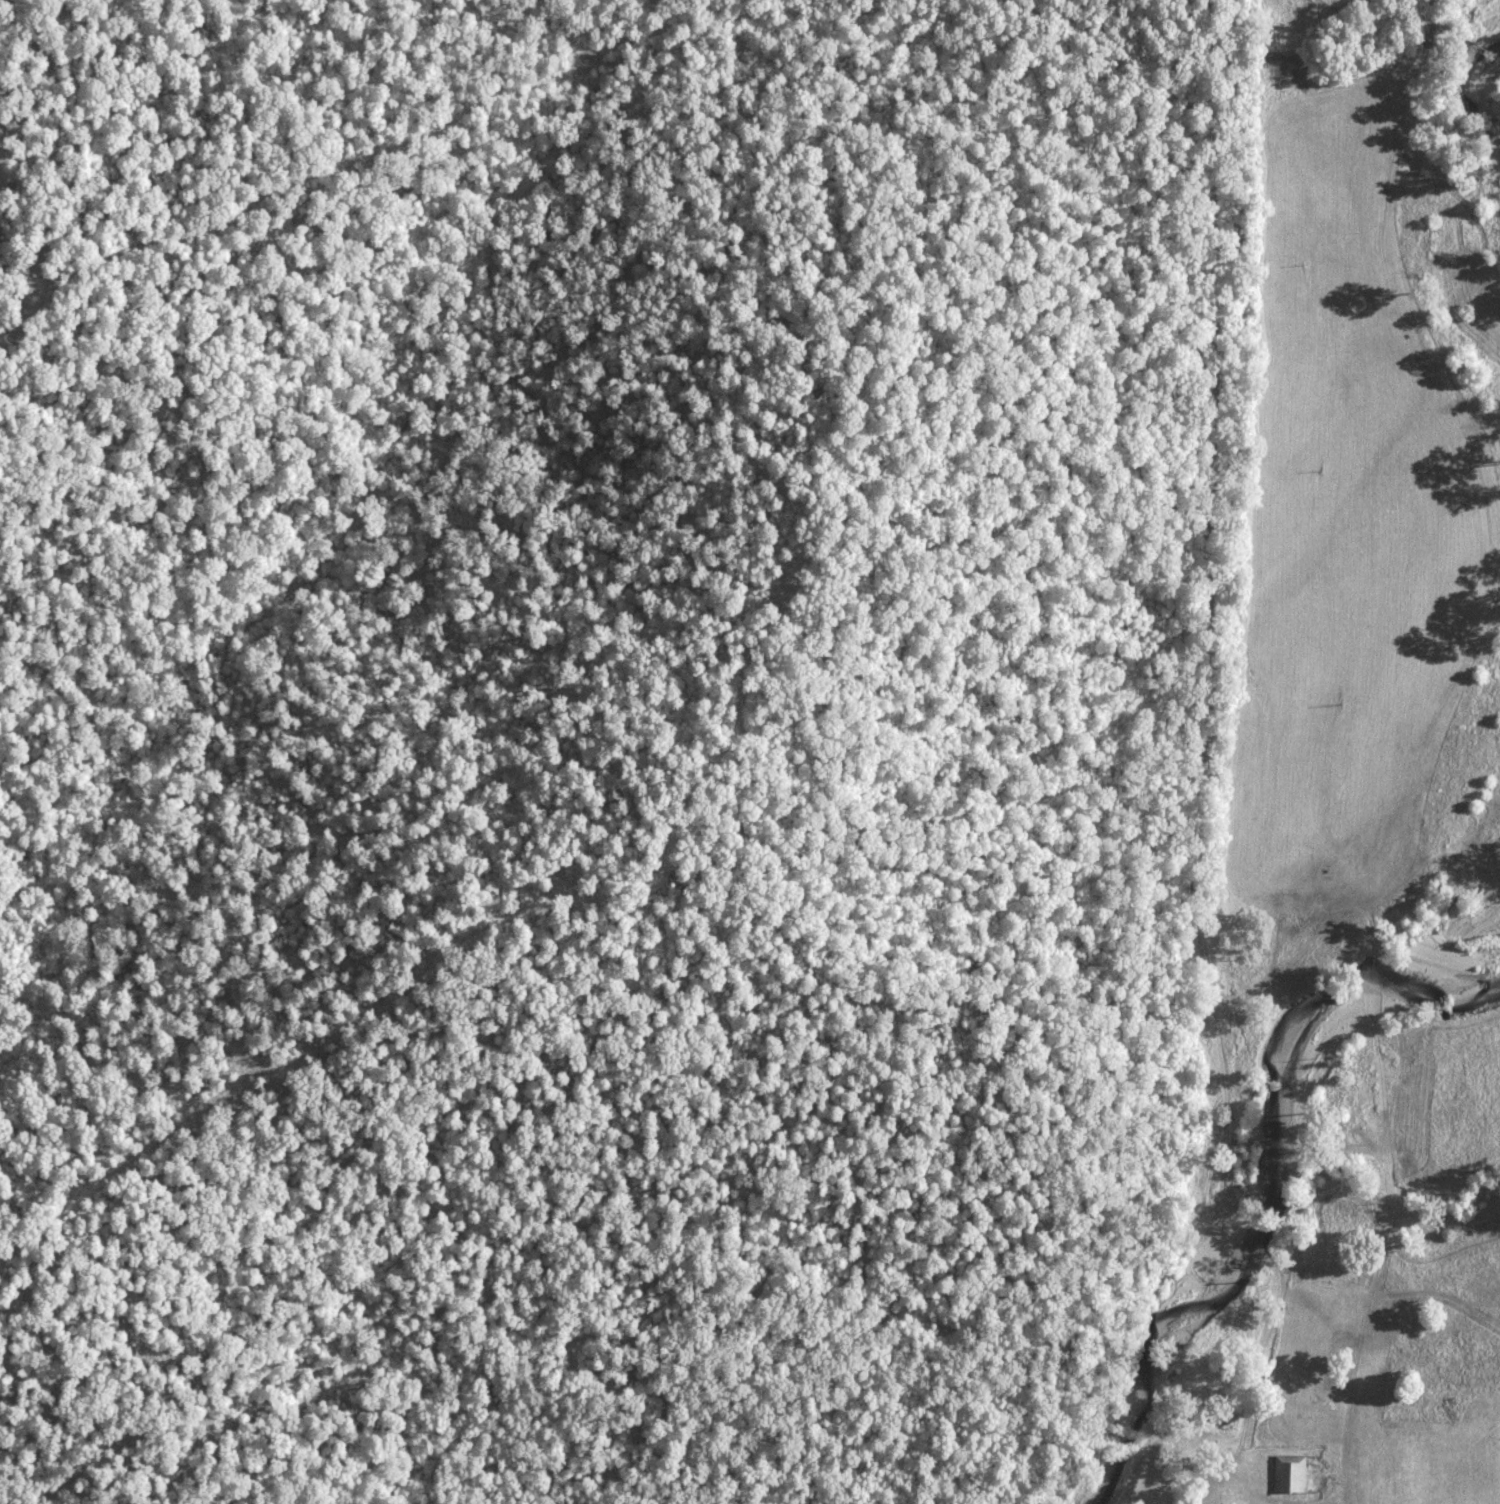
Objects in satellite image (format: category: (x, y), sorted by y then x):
building: (1295, 1473)

